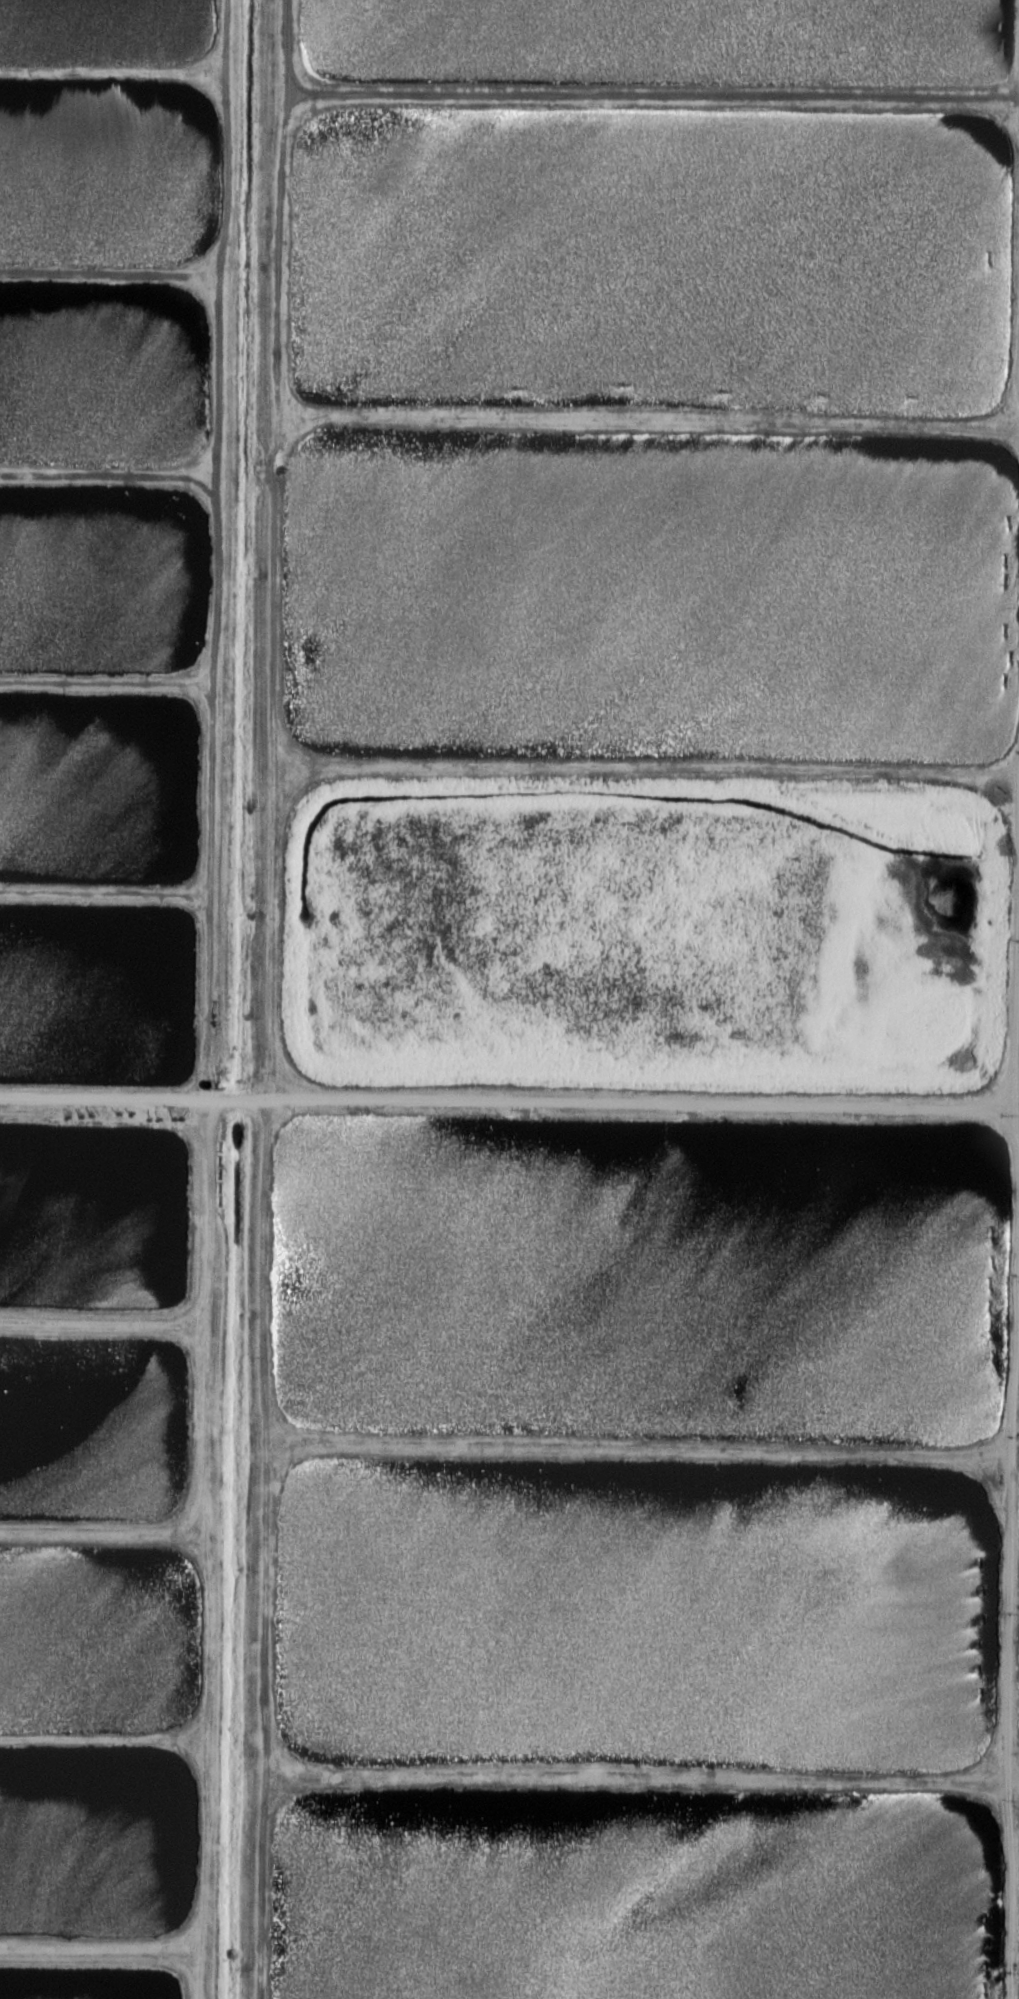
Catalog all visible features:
road: (204, 999)
road: (609, 1101)
road: (1013, 1509)
road: (259, 1547)

